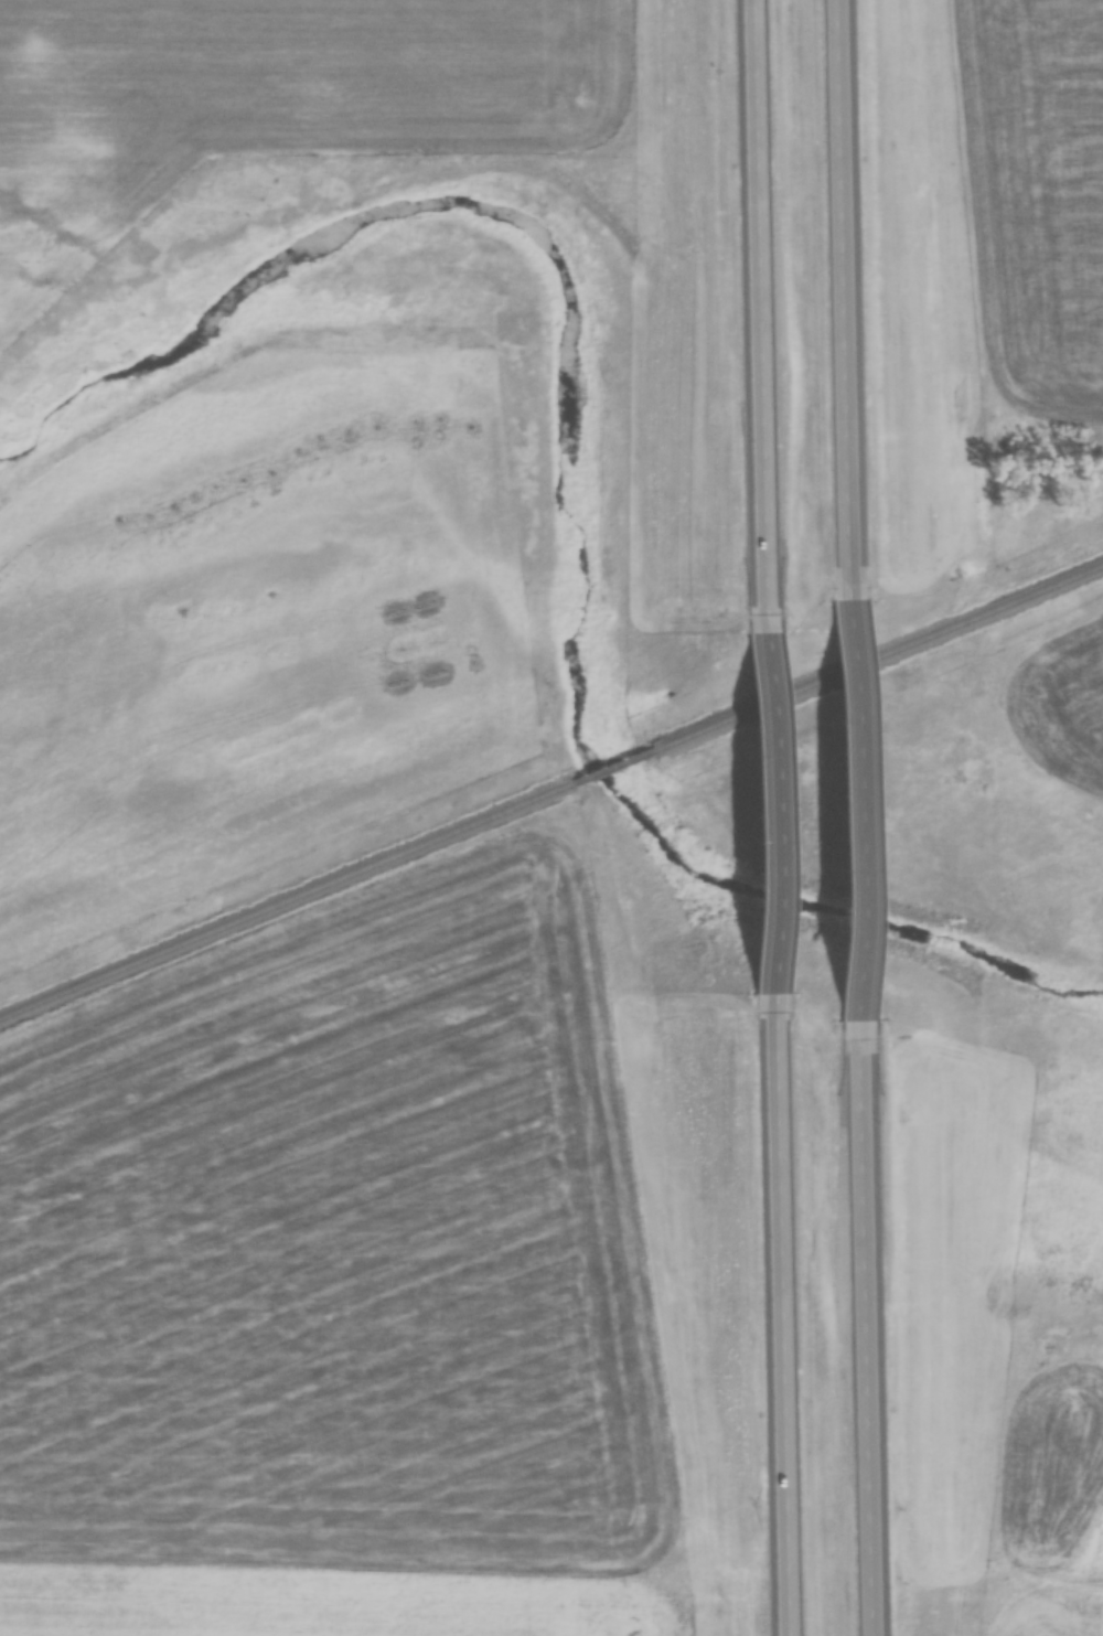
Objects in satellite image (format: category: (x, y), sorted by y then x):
road: (849, 272)
road: (754, 282)
railway: (880, 664)
railway: (618, 771)
road: (859, 792)
road: (765, 802)
railway: (288, 909)
road: (780, 1337)
road: (871, 1337)

